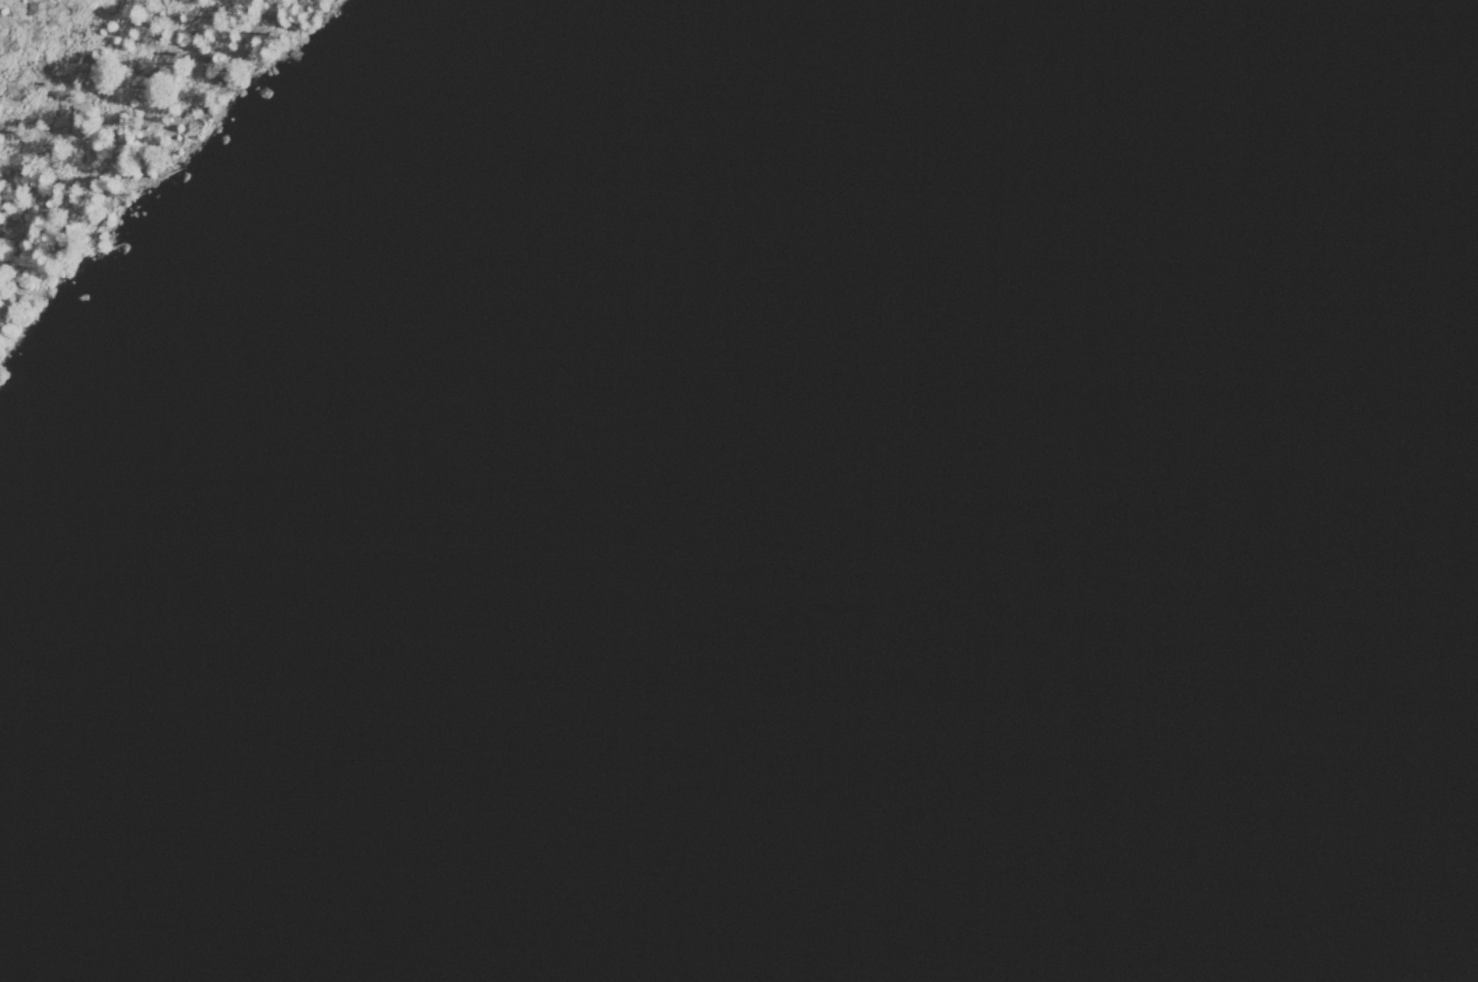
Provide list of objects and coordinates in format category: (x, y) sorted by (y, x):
road: (139, 166)

